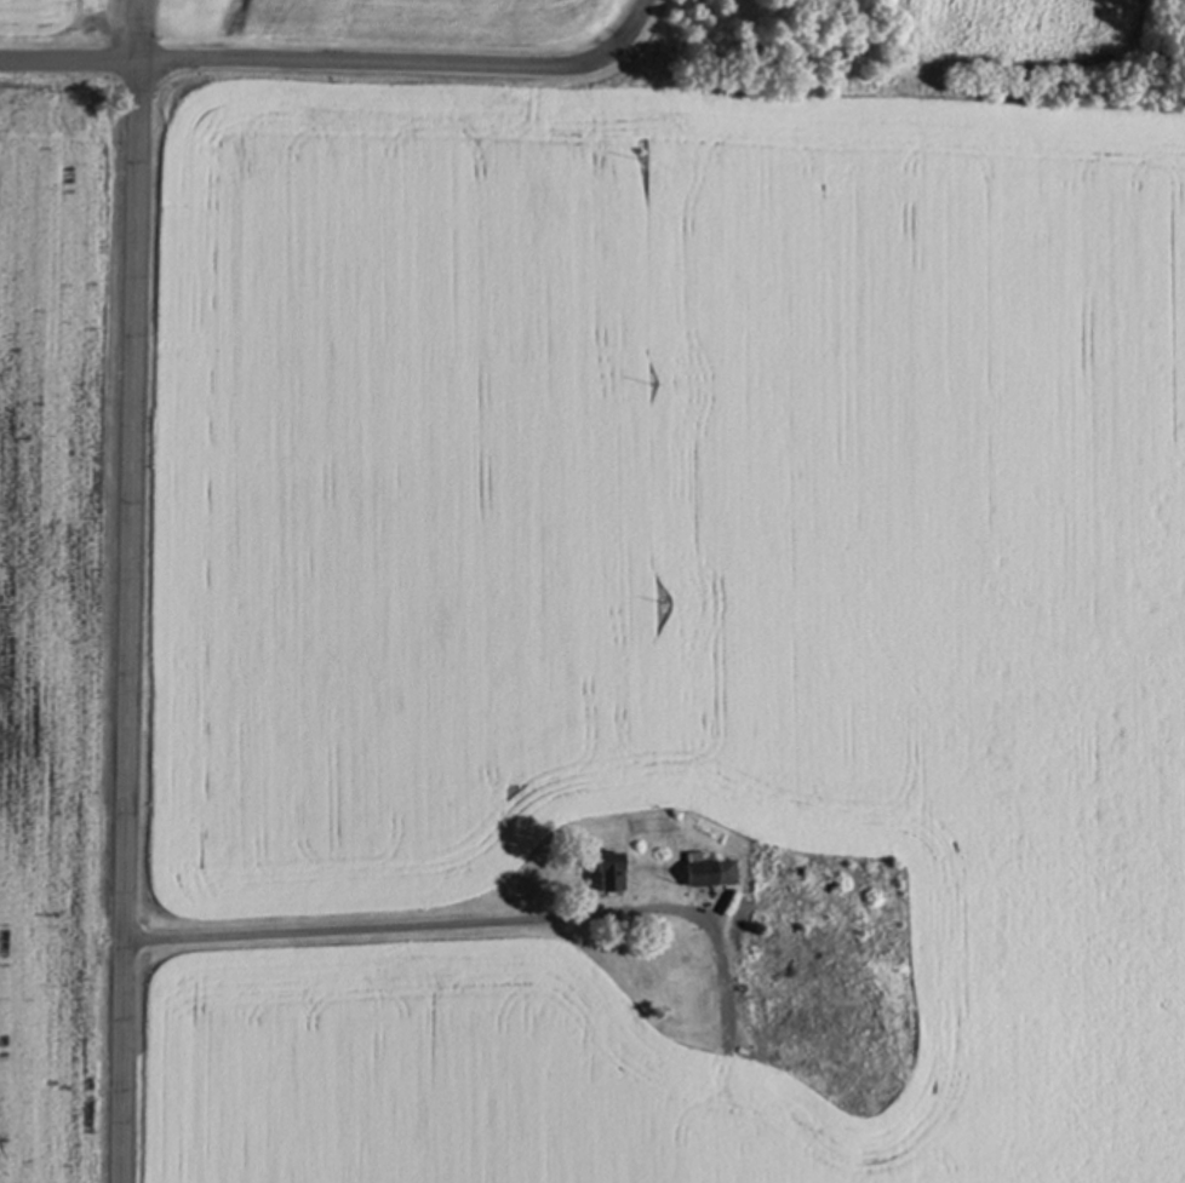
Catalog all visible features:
road: (340, 64)
road: (127, 591)
building: (609, 873)
building: (711, 875)
road: (372, 934)
building: (786, 972)
building: (859, 1080)

